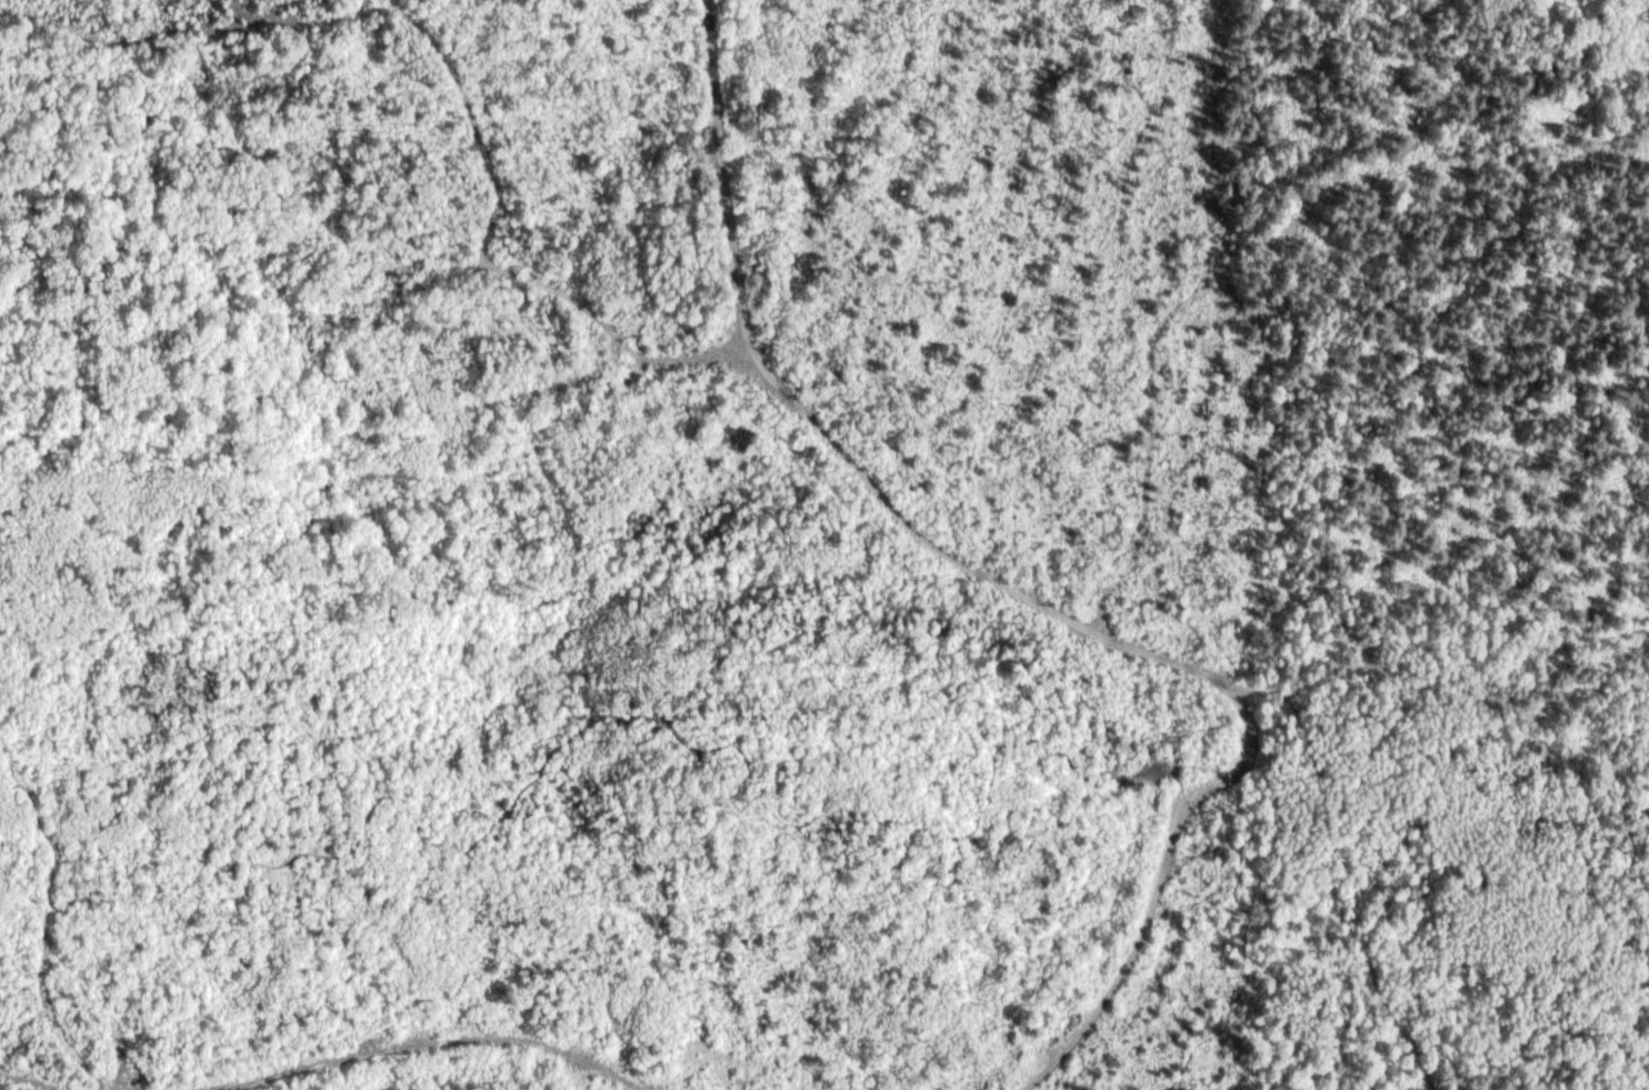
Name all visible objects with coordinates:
road: (1027, 583)
road: (424, 1047)
road: (19, 1086)

